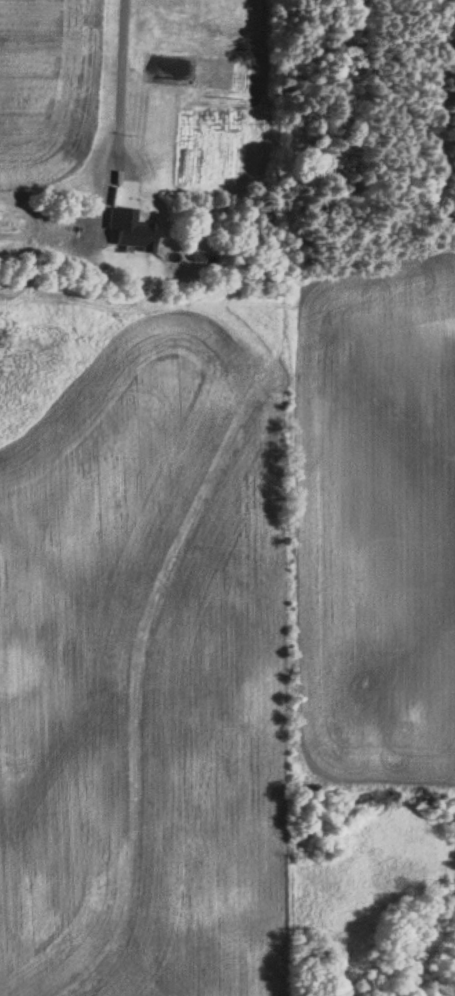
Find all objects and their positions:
road: (120, 94)

